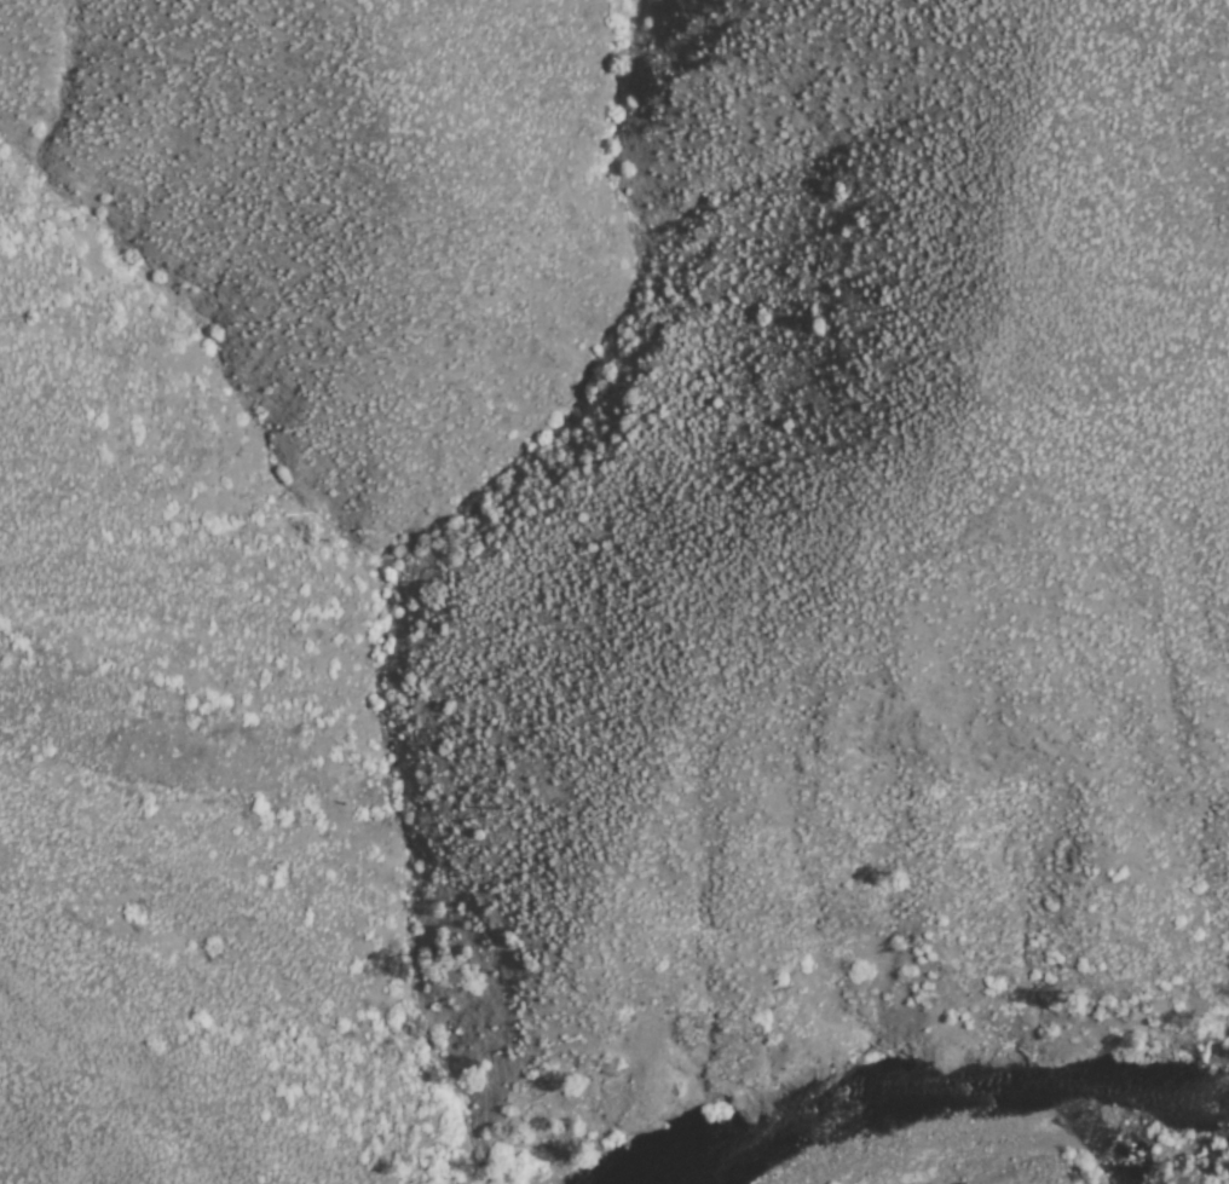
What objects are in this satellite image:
river: (936, 1103)
river: (1123, 1139)

